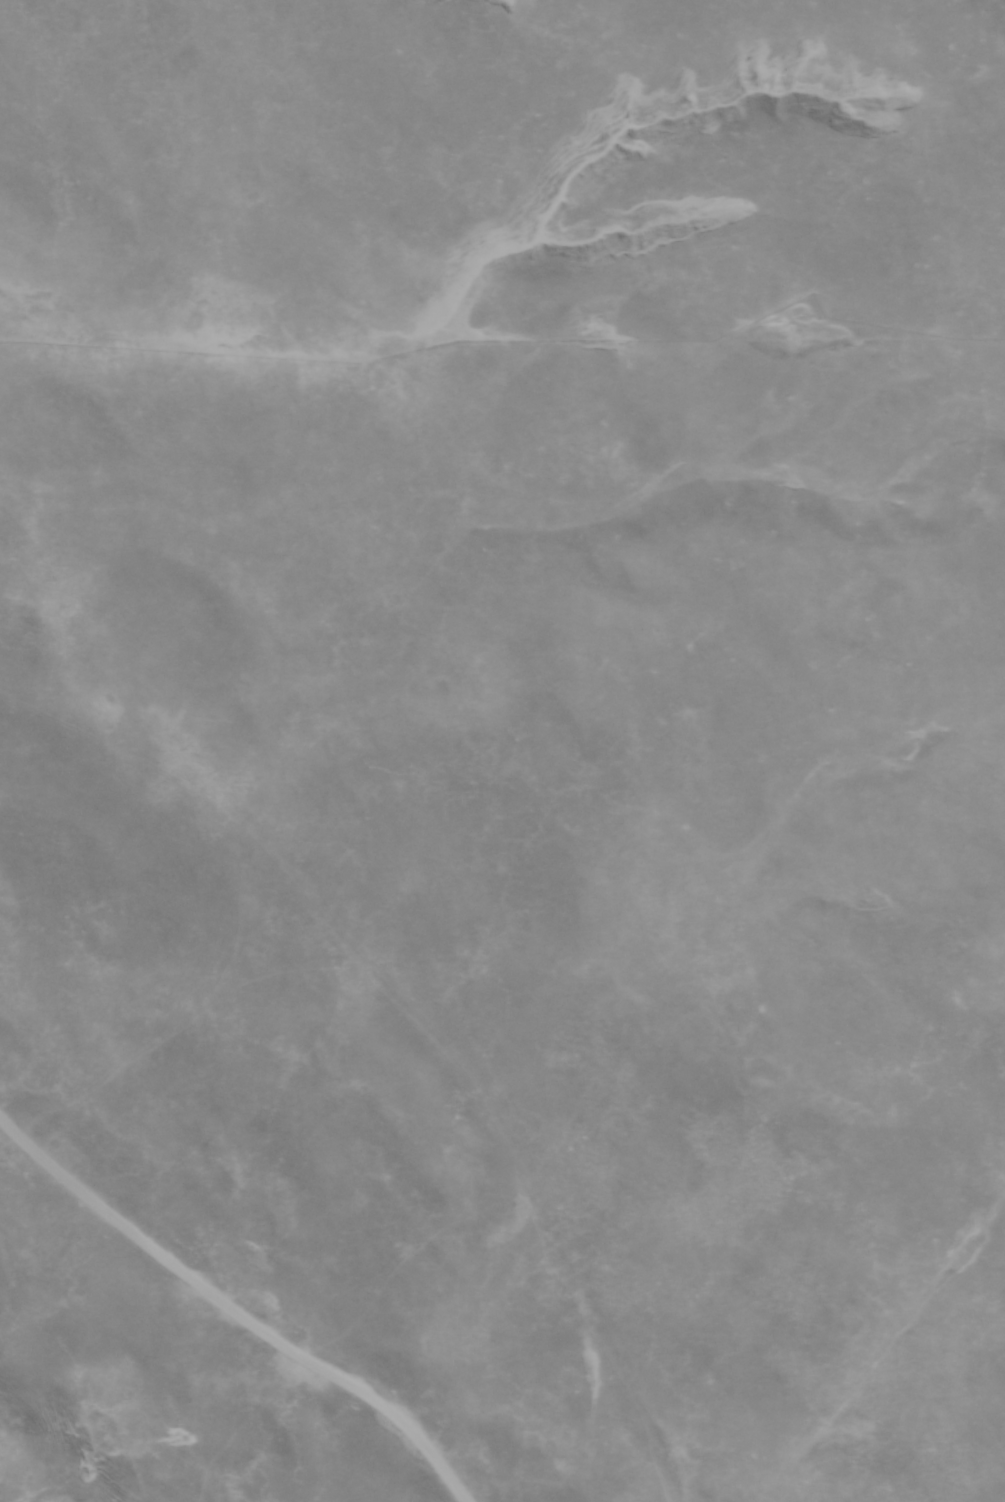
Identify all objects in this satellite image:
road: (235, 1311)

